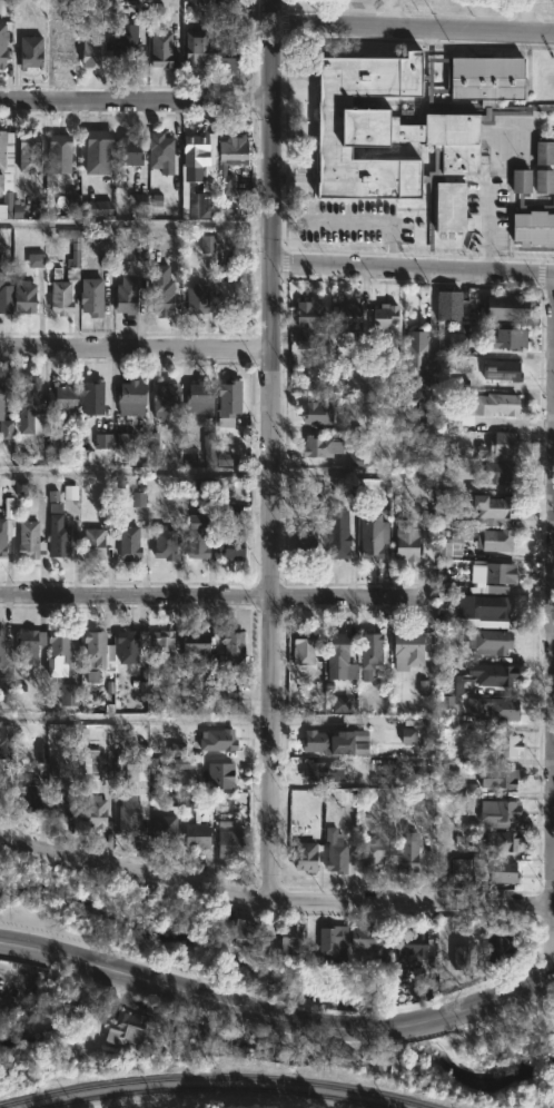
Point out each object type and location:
building: (4, 7)
building: (1, 31)
road: (412, 33)
building: (92, 44)
building: (226, 46)
building: (61, 47)
building: (194, 47)
building: (159, 49)
building: (29, 50)
building: (127, 55)
building: (0, 56)
road: (136, 110)
building: (407, 128)
road: (273, 131)
building: (93, 150)
building: (128, 151)
building: (545, 151)
building: (27, 152)
building: (160, 152)
building: (55, 154)
building: (227, 161)
building: (7, 178)
building: (195, 178)
building: (522, 181)
building: (545, 181)
building: (138, 202)
building: (95, 208)
road: (136, 222)
road: (370, 224)
building: (534, 226)
building: (206, 244)
building: (69, 253)
building: (34, 259)
road: (413, 268)
building: (161, 289)
building: (4, 294)
building: (123, 295)
building: (23, 296)
building: (89, 296)
building: (57, 298)
building: (194, 298)
building: (227, 299)
building: (449, 306)
building: (503, 307)
building: (346, 315)
building: (382, 315)
building: (309, 325)
building: (506, 338)
building: (457, 343)
road: (137, 347)
building: (415, 352)
building: (502, 370)
building: (382, 372)
building: (423, 389)
building: (26, 396)
building: (59, 397)
building: (91, 397)
building: (130, 398)
building: (196, 398)
building: (164, 400)
building: (225, 403)
building: (478, 408)
building: (427, 413)
building: (314, 414)
building: (4, 431)
building: (103, 435)
building: (151, 438)
building: (125, 443)
building: (207, 443)
building: (499, 445)
building: (318, 448)
road: (136, 471)
building: (497, 473)
building: (350, 491)
building: (69, 492)
building: (138, 499)
building: (230, 512)
building: (482, 513)
building: (55, 532)
building: (335, 534)
building: (196, 536)
building: (370, 536)
building: (1, 540)
building: (24, 540)
building: (404, 541)
building: (494, 541)
building: (128, 543)
building: (164, 543)
building: (303, 543)
building: (92, 544)
building: (230, 544)
building: (449, 547)
building: (497, 573)
road: (273, 581)
road: (214, 595)
building: (482, 606)
building: (0, 642)
building: (486, 642)
building: (26, 645)
building: (303, 646)
building: (123, 647)
building: (192, 647)
building: (91, 649)
building: (160, 649)
building: (407, 649)
building: (229, 651)
building: (369, 654)
building: (55, 655)
building: (338, 657)
building: (91, 676)
building: (481, 676)
building: (3, 682)
building: (68, 694)
building: (340, 704)
building: (492, 706)
road: (340, 716)
road: (136, 718)
building: (407, 735)
building: (4, 740)
building: (215, 741)
building: (338, 741)
building: (313, 742)
building: (499, 745)
building: (177, 750)
building: (40, 752)
building: (90, 771)
building: (320, 771)
building: (217, 775)
building: (496, 779)
building: (29, 793)
building: (136, 798)
building: (61, 799)
building: (175, 799)
building: (93, 811)
building: (496, 811)
building: (200, 815)
building: (224, 821)
building: (161, 827)
building: (194, 837)
building: (502, 839)
building: (228, 844)
building: (333, 852)
building: (369, 853)
building: (404, 853)
building: (303, 857)
building: (464, 864)
building: (501, 872)
road: (274, 899)
building: (240, 930)
building: (288, 940)
building: (363, 941)
building: (408, 941)
building: (332, 942)
building: (497, 942)
building: (451, 953)
building: (423, 988)
building: (3, 1007)
road: (277, 1013)
building: (123, 1028)
building: (209, 1038)
building: (273, 1049)
park: (514, 1058)
railway: (214, 1077)
railway: (211, 1087)

